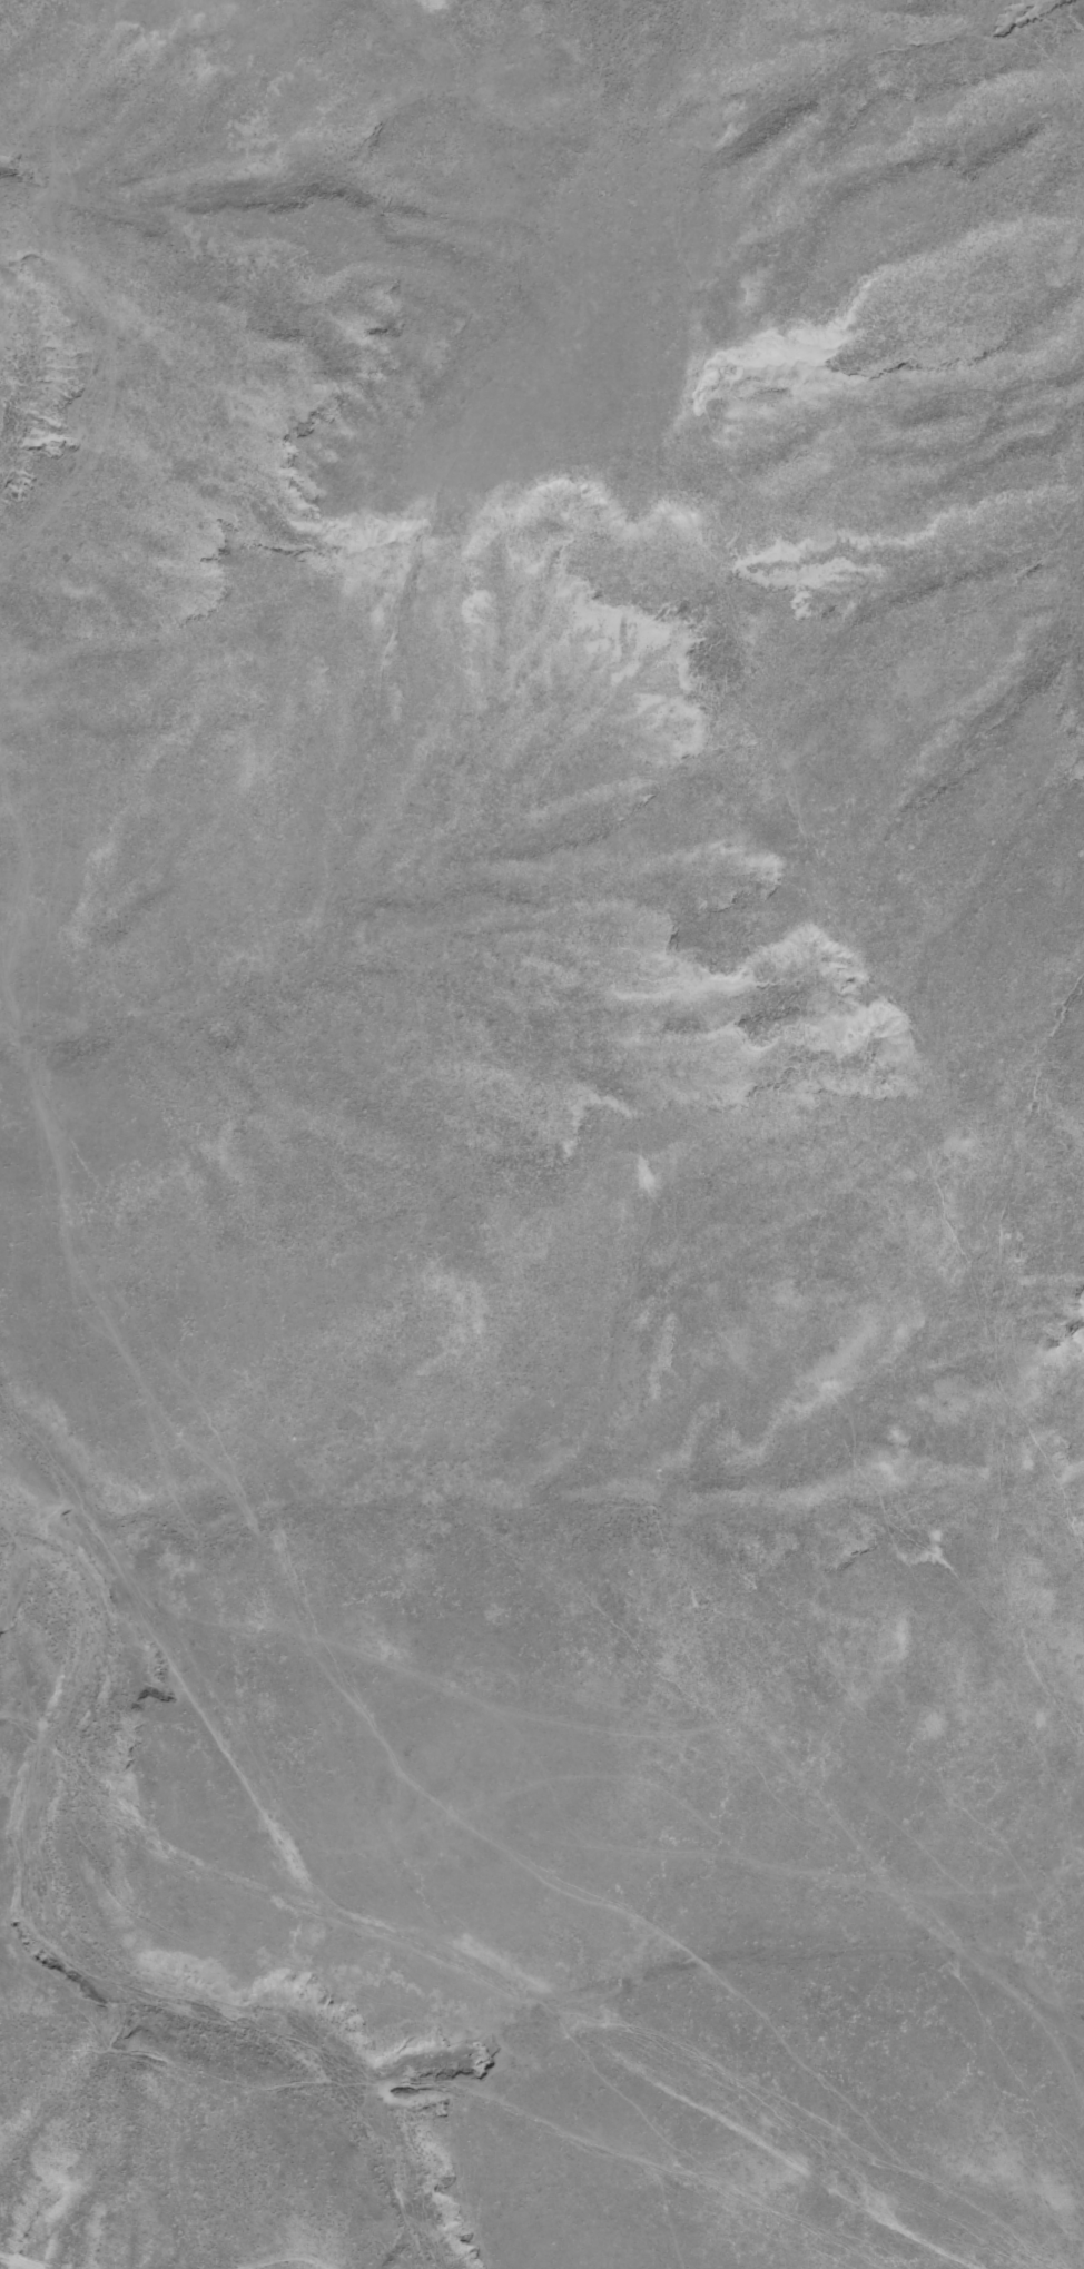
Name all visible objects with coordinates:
road: (418, 2016)

